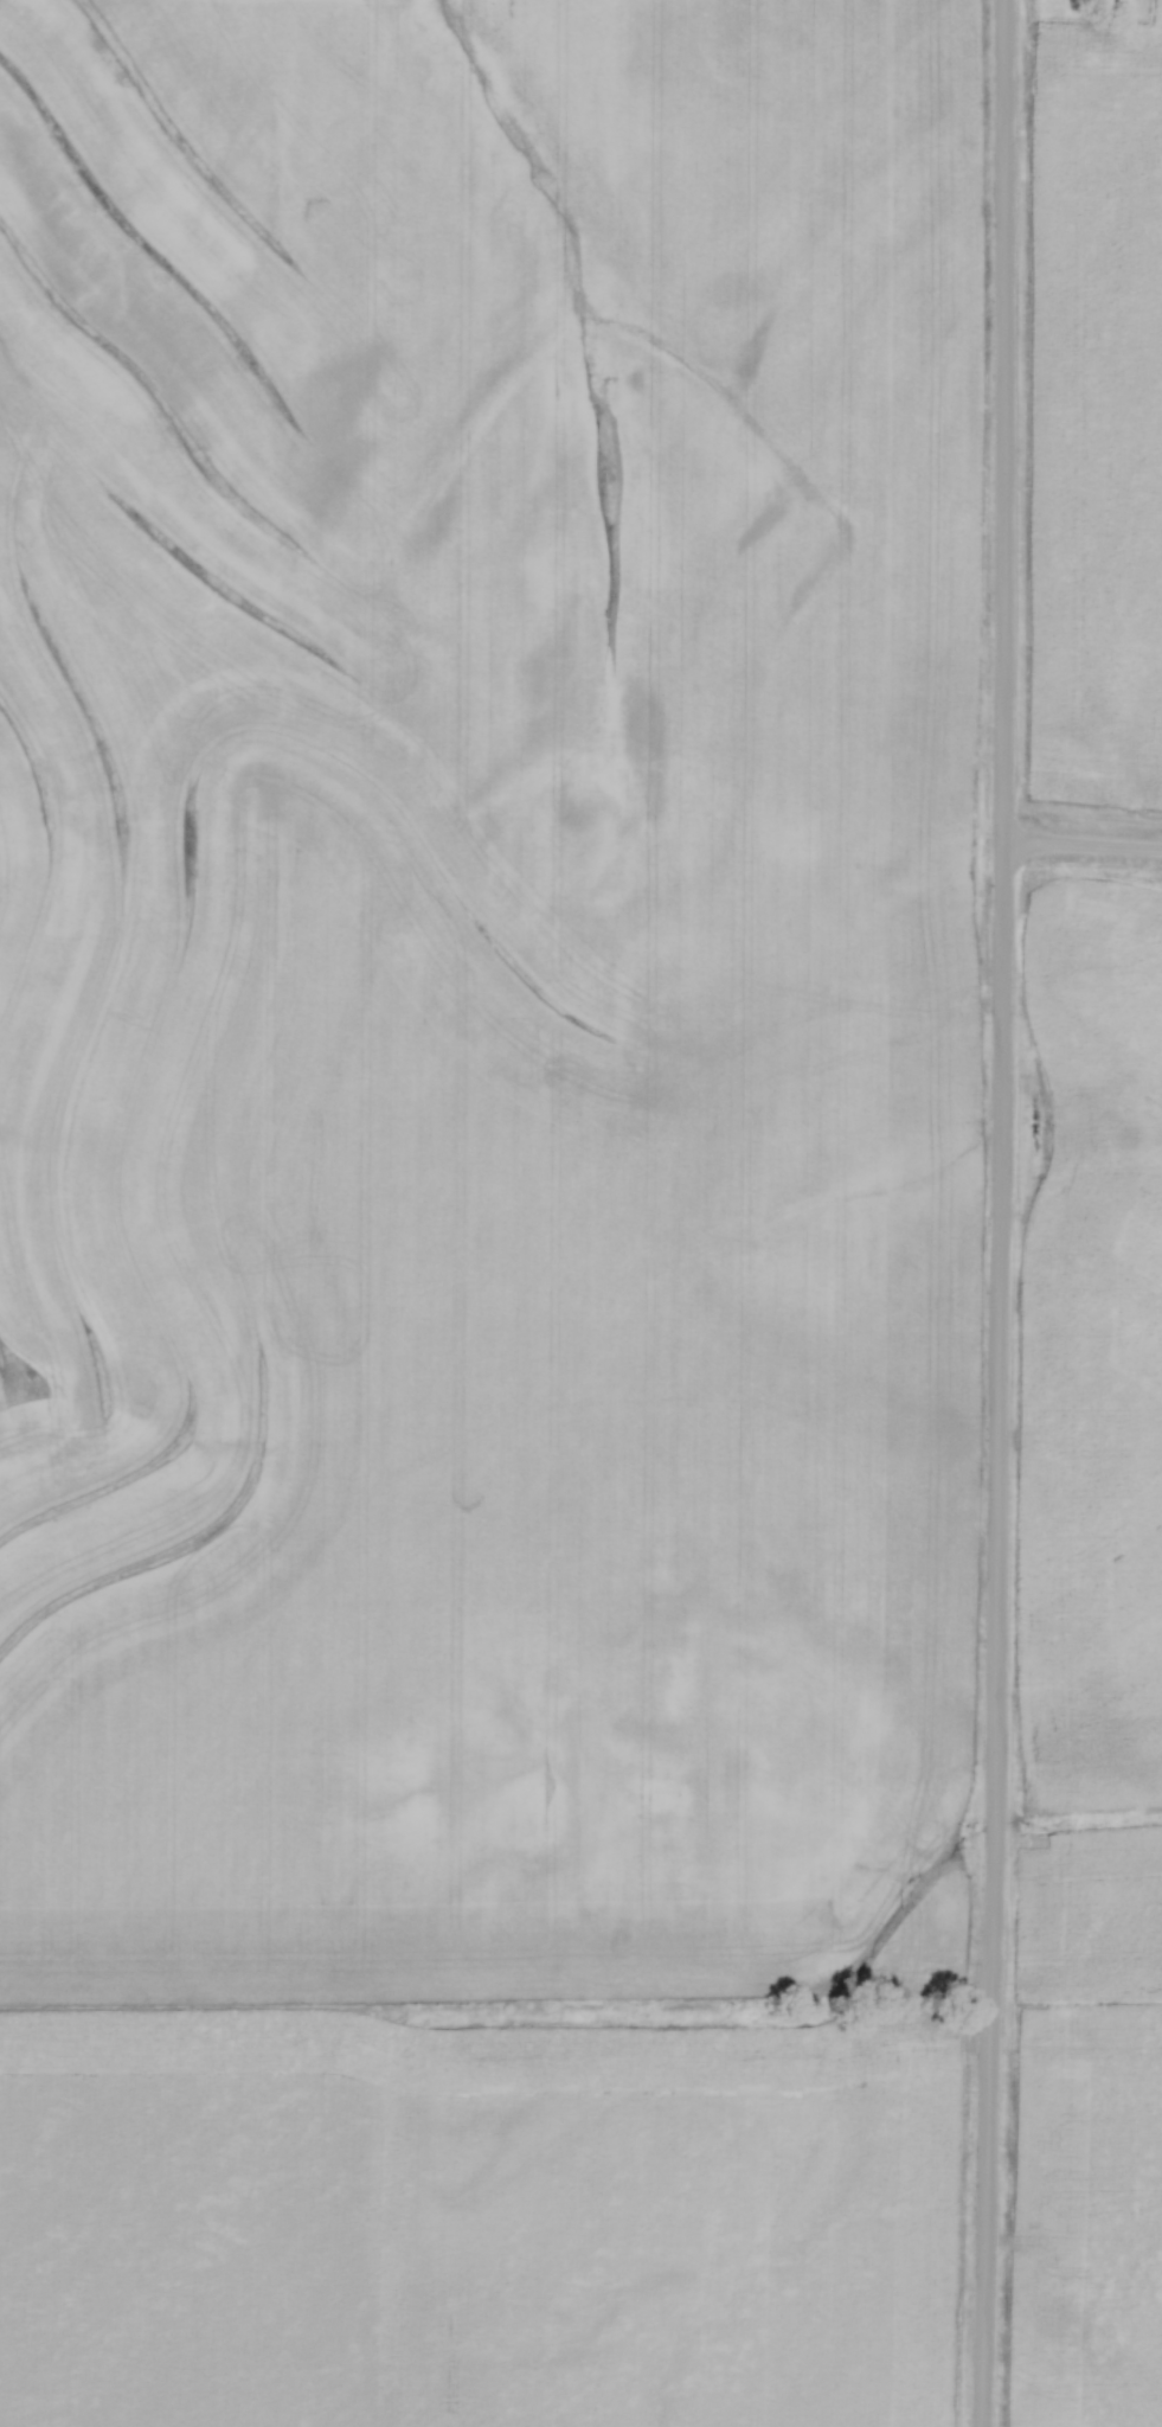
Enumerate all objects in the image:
road: (1080, 858)
road: (994, 1213)

